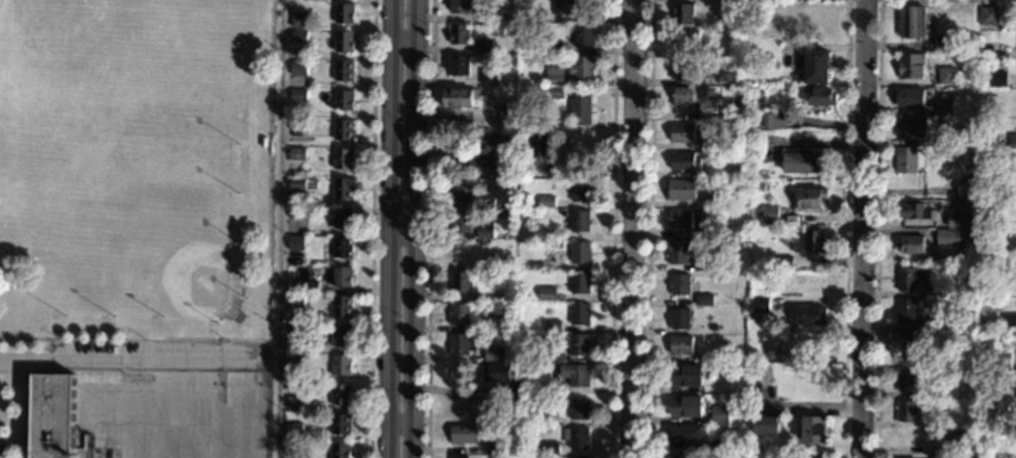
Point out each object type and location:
road: (628, 2)
road: (619, 4)
building: (461, 5)
building: (564, 7)
building: (496, 12)
building: (730, 12)
building: (344, 13)
building: (683, 13)
building: (538, 16)
building: (988, 16)
building: (299, 19)
building: (912, 21)
building: (460, 34)
park: (65, 35)
building: (585, 35)
building: (299, 36)
building: (686, 39)
building: (540, 40)
building: (344, 42)
building: (944, 42)
building: (483, 47)
building: (554, 47)
building: (940, 54)
building: (459, 65)
building: (298, 66)
building: (911, 66)
building: (583, 67)
building: (817, 67)
building: (683, 70)
building: (344, 71)
building: (555, 75)
building: (946, 75)
building: (489, 77)
building: (727, 77)
building: (796, 77)
building: (996, 79)
building: (543, 81)
building: (556, 92)
building: (299, 95)
building: (821, 96)
building: (458, 97)
building: (910, 97)
building: (695, 99)
building: (343, 100)
building: (943, 106)
building: (581, 111)
building: (505, 112)
building: (777, 120)
building: (297, 124)
building: (910, 127)
building: (343, 129)
building: (683, 132)
building: (964, 136)
building: (716, 140)
building: (1011, 140)
building: (263, 141)
building: (493, 143)
building: (541, 146)
building: (297, 153)
building: (344, 159)
building: (906, 160)
building: (685, 161)
building: (805, 163)
building: (502, 168)
park: (136, 170)
building: (1013, 172)
building: (520, 173)
building: (297, 183)
building: (757, 186)
building: (343, 187)
building: (682, 189)
building: (966, 189)
building: (462, 190)
building: (581, 191)
building: (811, 198)
building: (546, 202)
building: (487, 203)
building: (308, 208)
building: (973, 209)
building: (914, 211)
building: (297, 212)
building: (497, 212)
building: (769, 214)
building: (343, 217)
building: (680, 219)
building: (962, 220)
building: (461, 221)
building: (580, 221)
road: (612, 226)
road: (629, 228)
road: (277, 229)
road: (372, 229)
road: (389, 229)
road: (416, 229)
road: (430, 229)
road: (648, 229)
building: (724, 229)
road: (845, 229)
road: (861, 229)
road: (876, 229)
building: (706, 230)
building: (485, 233)
building: (949, 238)
building: (813, 241)
building: (295, 242)
building: (912, 244)
building: (554, 245)
building: (1007, 245)
building: (340, 248)
building: (677, 251)
building: (462, 252)
building: (763, 252)
building: (580, 253)
building: (1007, 258)
building: (779, 262)
building: (486, 264)
building: (703, 265)
park: (186, 266)
building: (342, 276)
building: (909, 278)
building: (808, 281)
building: (461, 282)
building: (579, 282)
building: (679, 284)
building: (310, 287)
building: (934, 290)
building: (547, 294)
building: (296, 300)
building: (704, 300)
building: (761, 304)
building: (511, 305)
building: (342, 306)
building: (907, 311)
building: (460, 313)
building: (580, 314)
building: (810, 316)
building: (679, 318)
building: (1008, 321)
building: (500, 322)
building: (935, 322)
building: (553, 326)
building: (714, 328)
building: (295, 329)
building: (342, 335)
building: (463, 344)
building: (579, 344)
building: (681, 345)
building: (912, 346)
building: (981, 350)
building: (493, 354)
building: (554, 356)
building: (724, 357)
road: (130, 359)
building: (1001, 361)
building: (295, 362)
building: (342, 365)
building: (549, 366)
building: (732, 367)
building: (739, 368)
road: (37, 372)
building: (576, 374)
building: (759, 374)
building: (501, 376)
building: (686, 376)
building: (1005, 379)
building: (906, 380)
park: (247, 387)
building: (724, 387)
building: (966, 391)
building: (341, 394)
building: (294, 402)
building: (685, 407)
building: (579, 408)
building: (906, 411)
road: (26, 415)
building: (719, 415)
building: (54, 416)
building: (545, 417)
building: (341, 423)
building: (767, 424)
building: (1007, 426)
building: (813, 429)
building: (295, 430)
building: (464, 434)
building: (686, 437)
building: (576, 438)
building: (955, 439)
building: (720, 447)
building: (550, 448)
building: (754, 448)
building: (495, 449)
building: (341, 450)
building: (995, 454)
building: (459, 457)
building: (578, 457)
building: (678, 457)
building: (902, 457)

